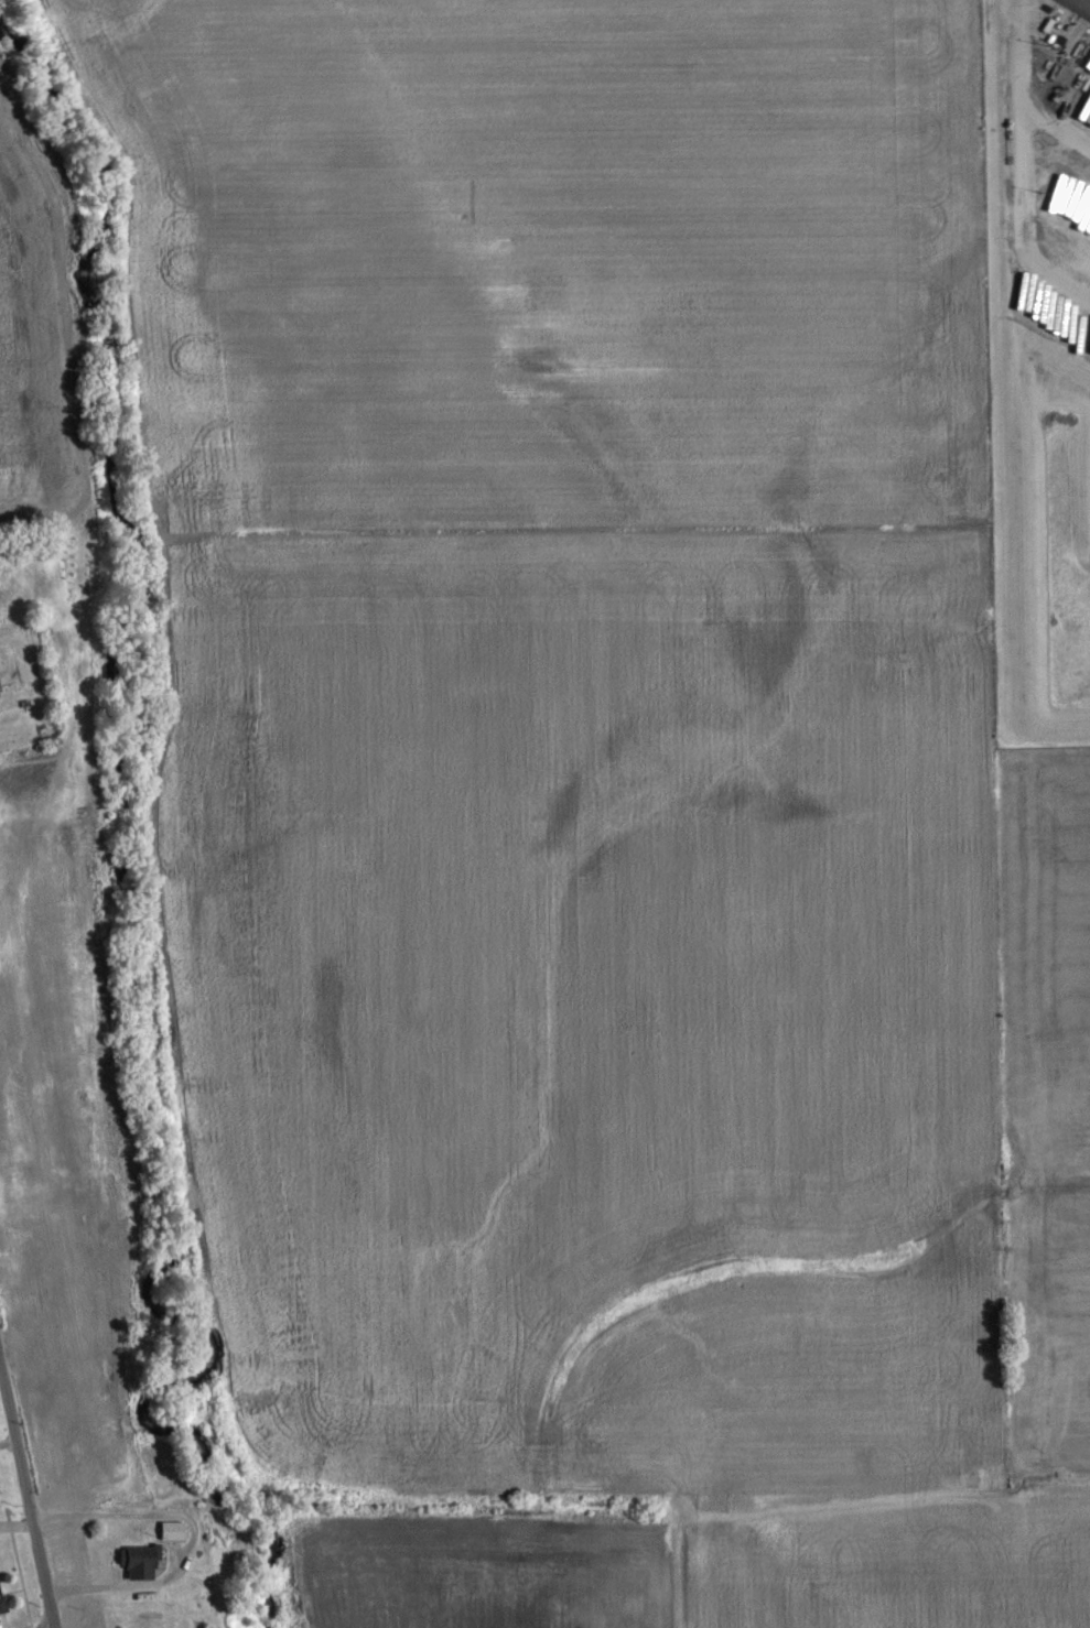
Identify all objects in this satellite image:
building: (0, 692)
road: (26, 1495)
building: (175, 1529)
road: (191, 1539)
building: (141, 1561)
building: (3, 1597)

